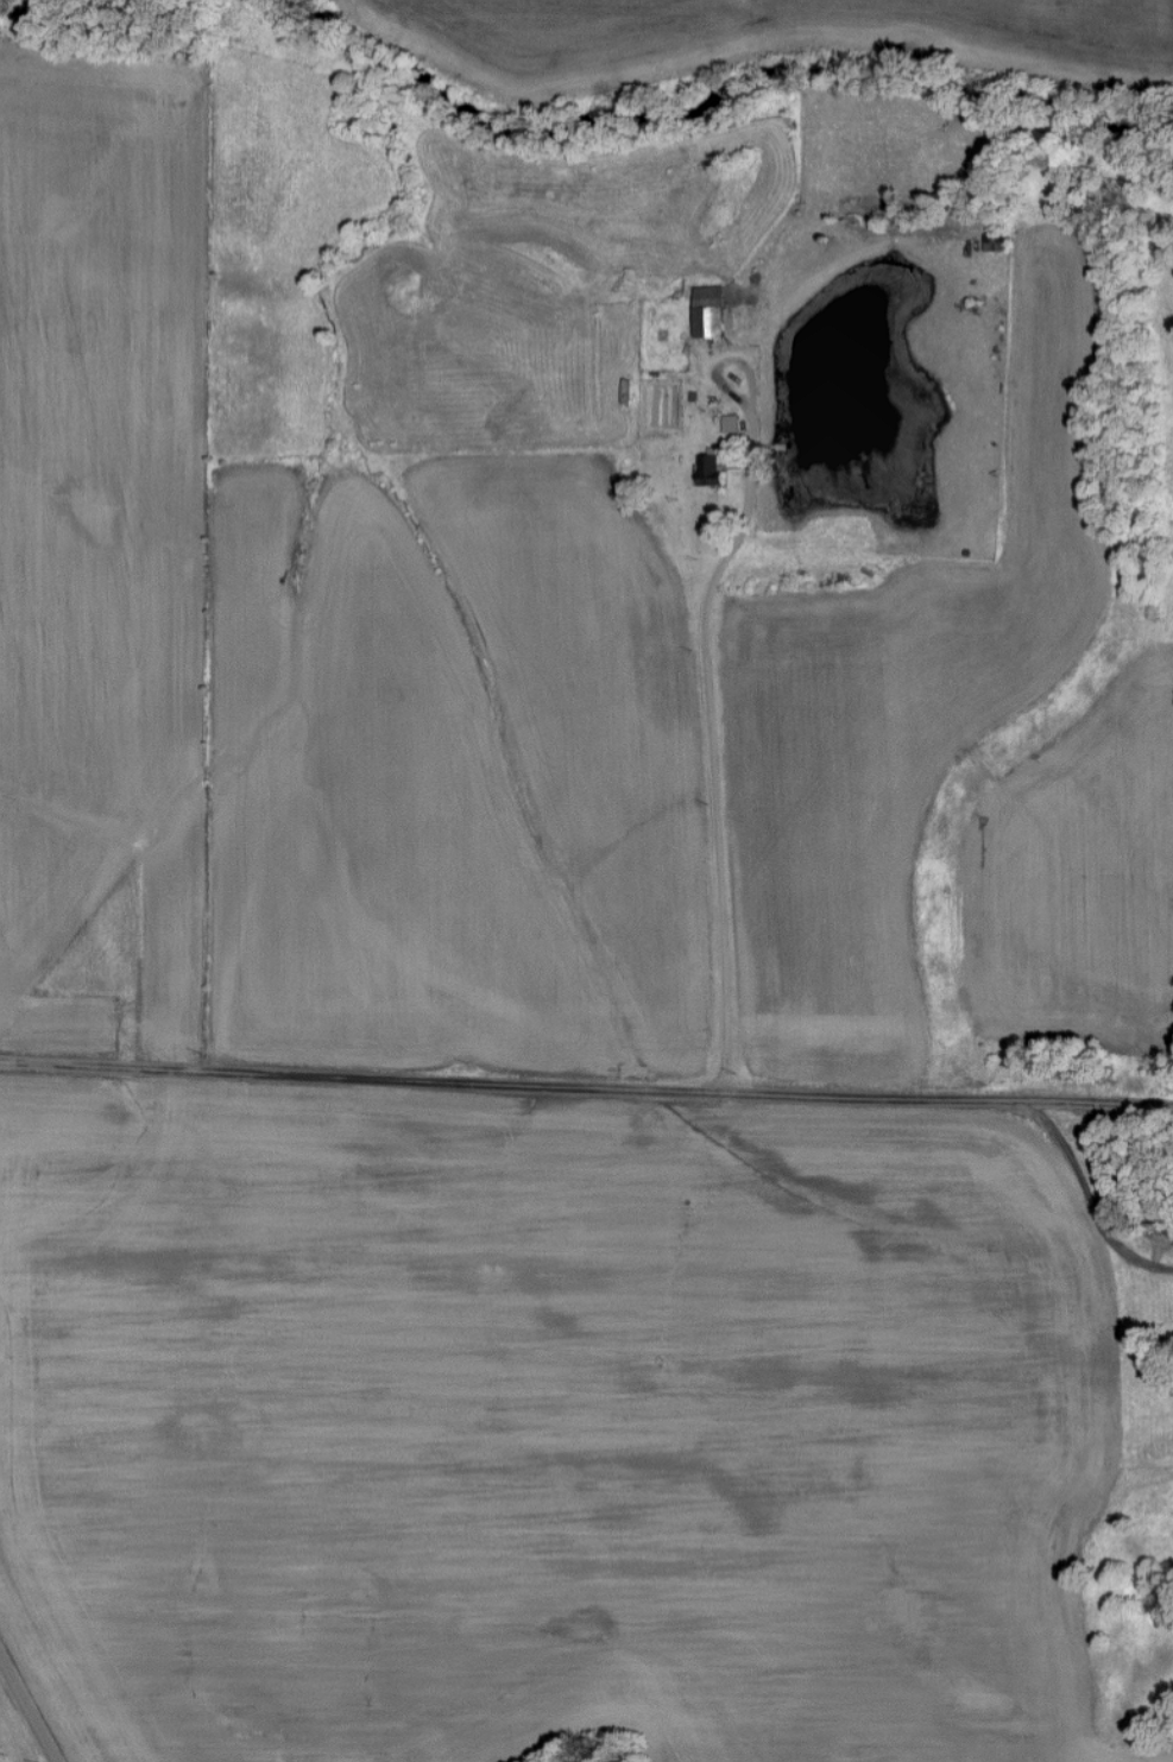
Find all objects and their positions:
building: (712, 311)
road: (750, 386)
building: (732, 423)
building: (711, 467)
road: (708, 746)
road: (586, 1090)
road: (1091, 1202)
road: (29, 1707)

